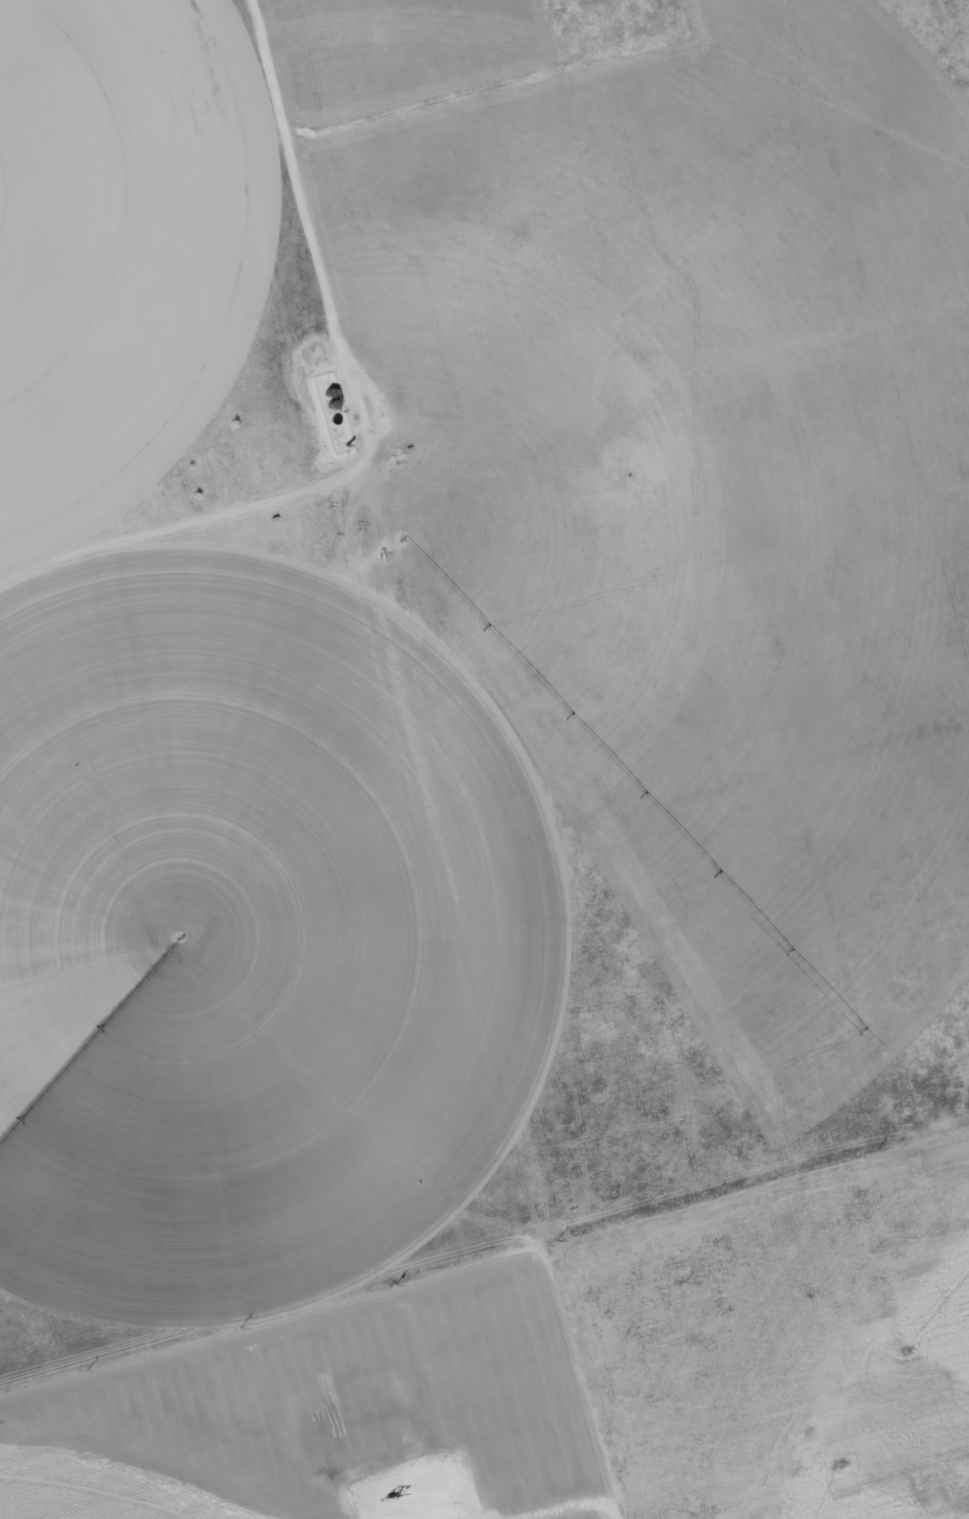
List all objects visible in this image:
road: (410, 557)
petroleum well: (391, 1493)

